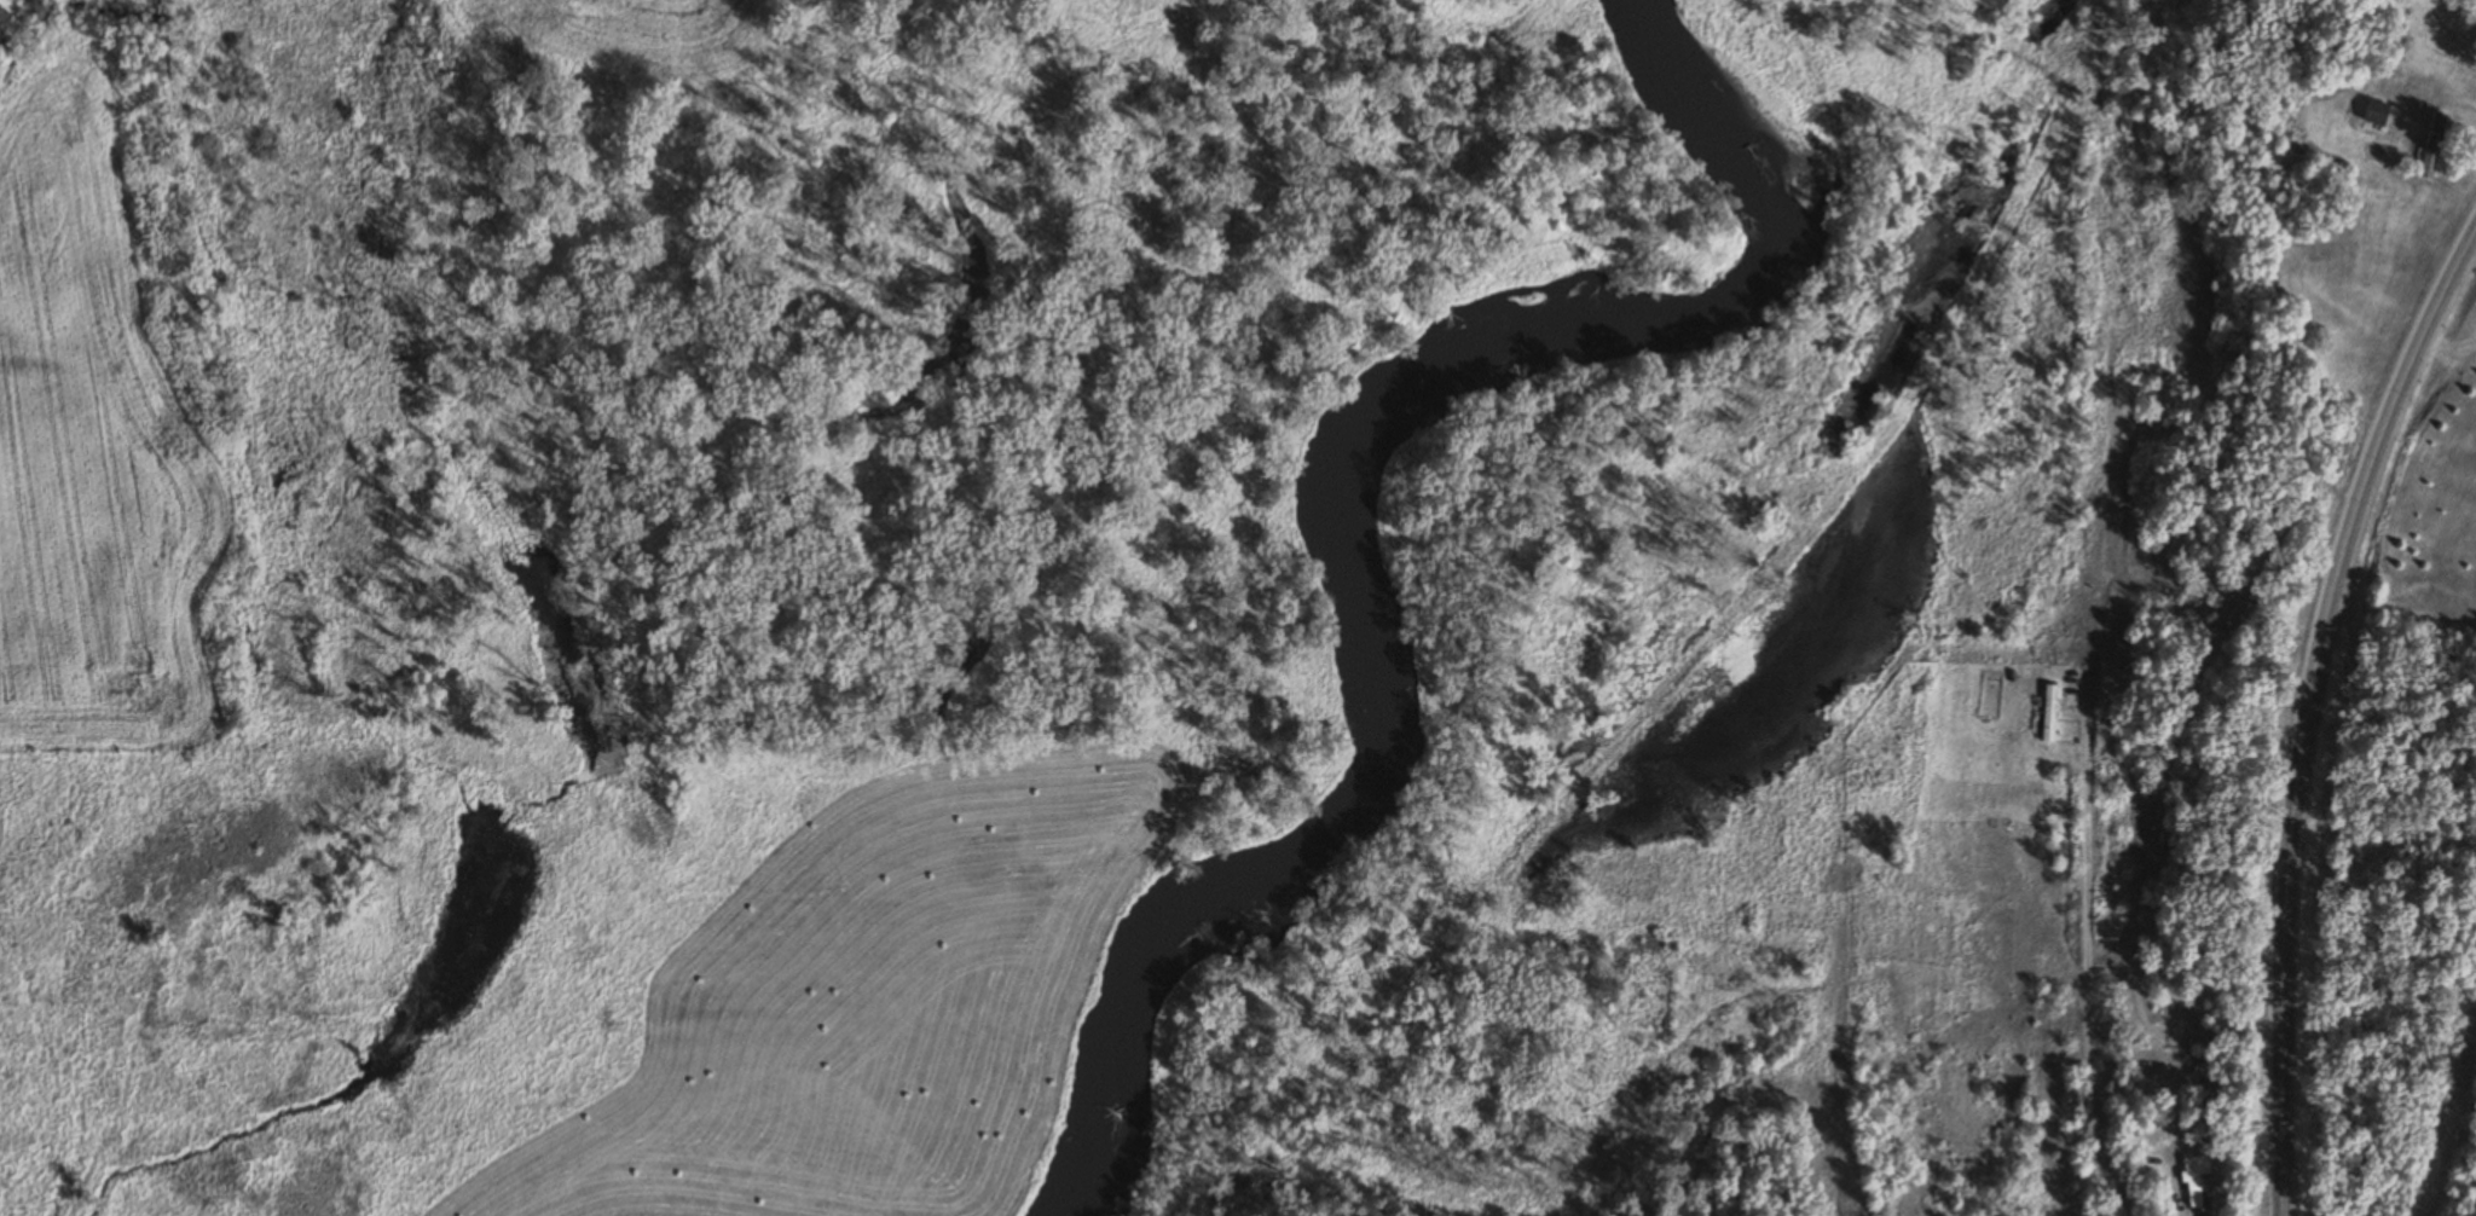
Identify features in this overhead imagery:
building: (2, 18)
building: (2372, 112)
building: (2430, 146)
building: (2200, 286)
building: (2189, 376)
river: (1370, 481)
road: (2100, 649)
road: (2304, 705)
building: (2046, 713)
building: (2193, 1179)
road: (2180, 1209)

